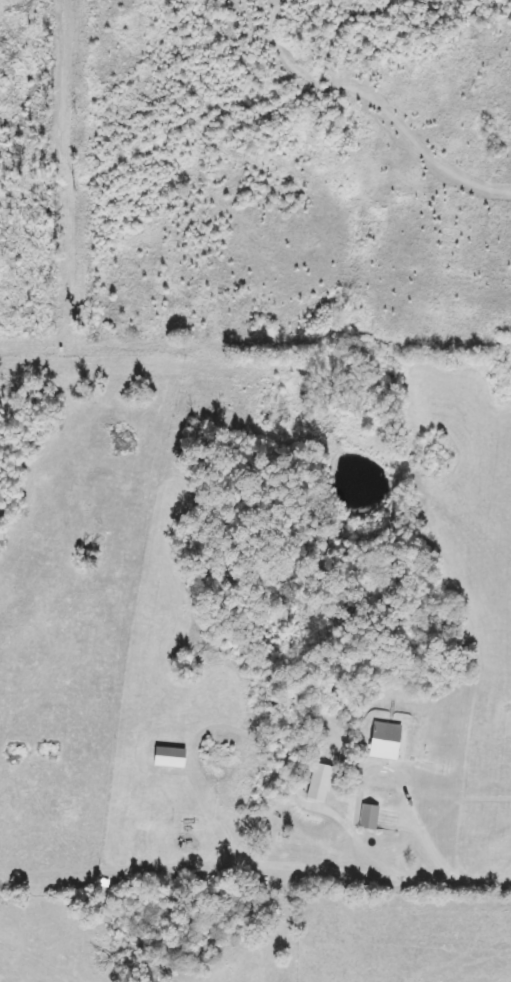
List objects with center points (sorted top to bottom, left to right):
building: (385, 741)
building: (170, 758)
building: (320, 783)
building: (368, 817)

